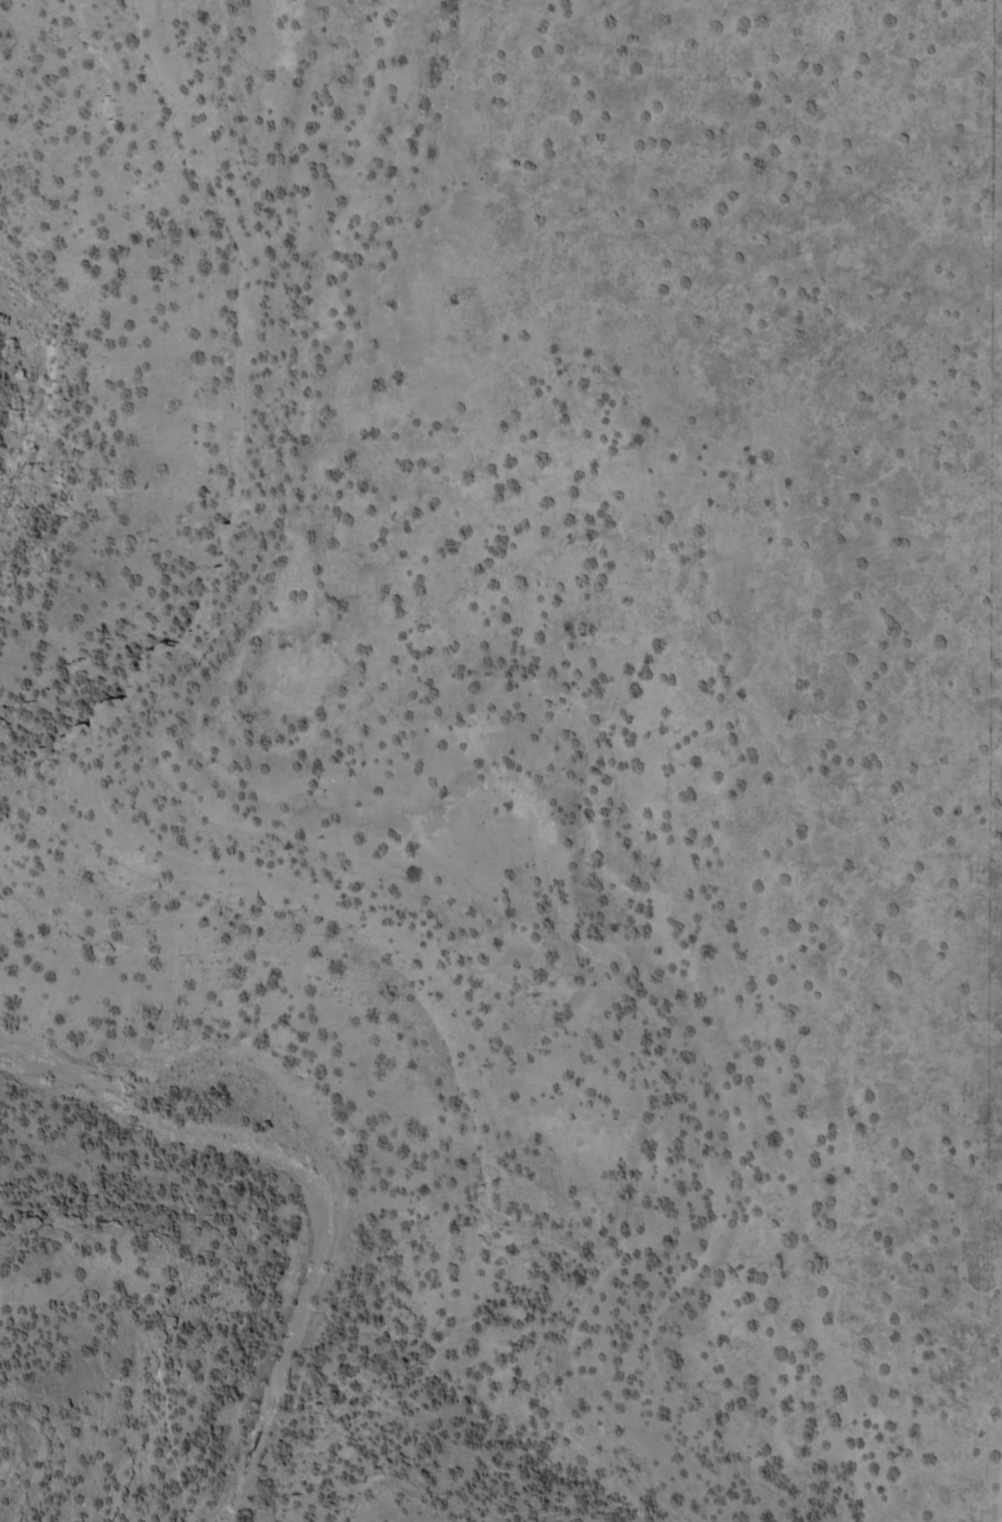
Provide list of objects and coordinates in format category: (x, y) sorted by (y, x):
road: (1001, 1393)

